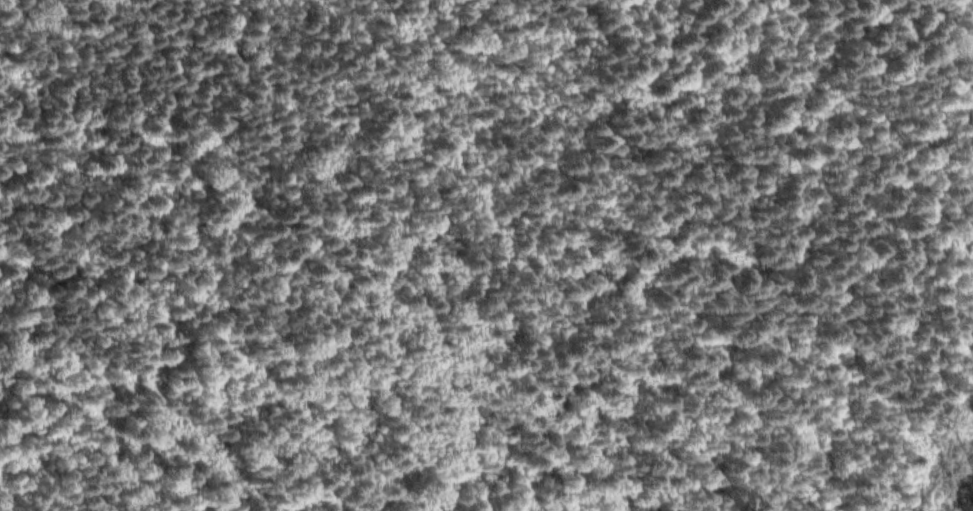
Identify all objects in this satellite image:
road: (146, 62)
road: (969, 188)
road: (215, 502)
road: (55, 510)

